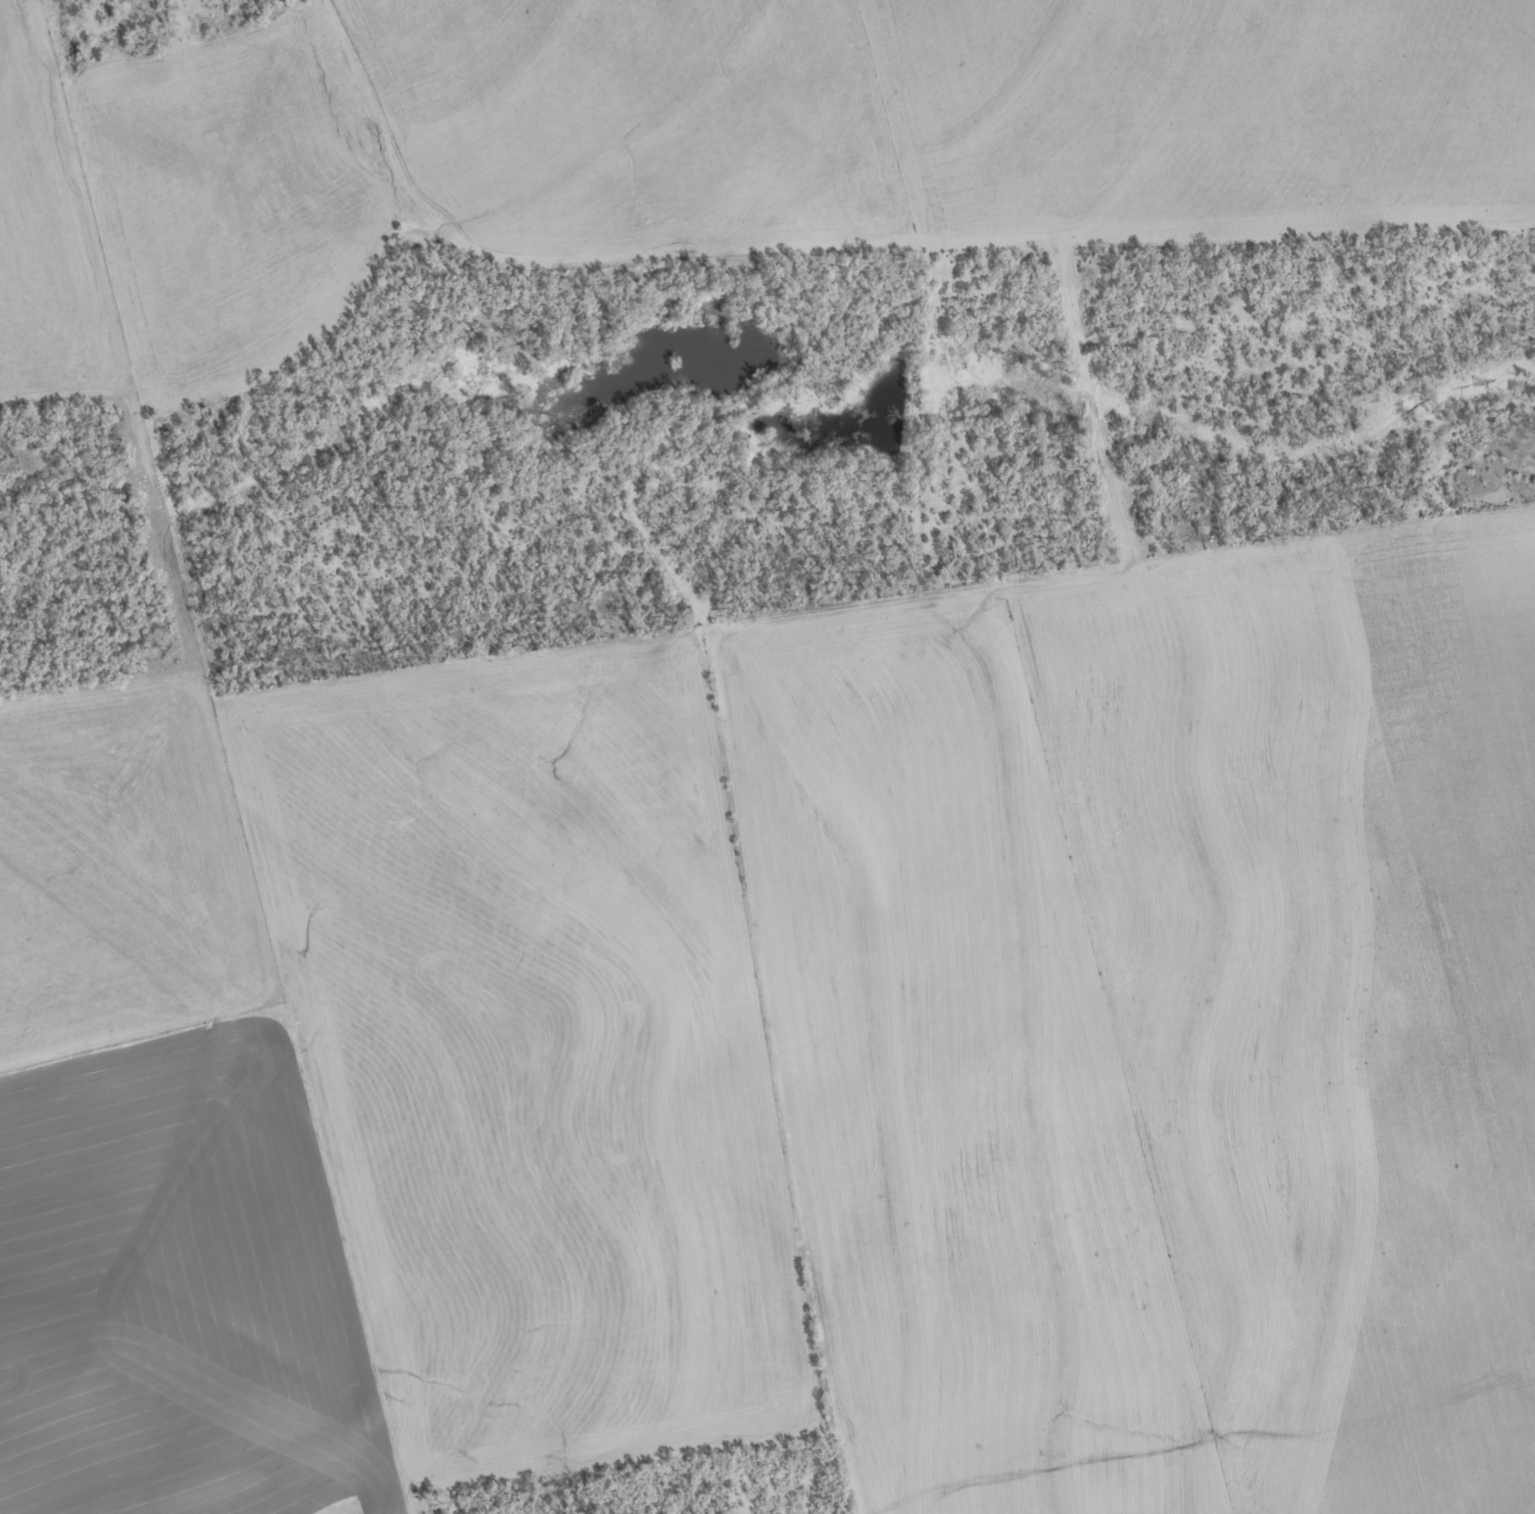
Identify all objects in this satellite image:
road: (293, 34)

